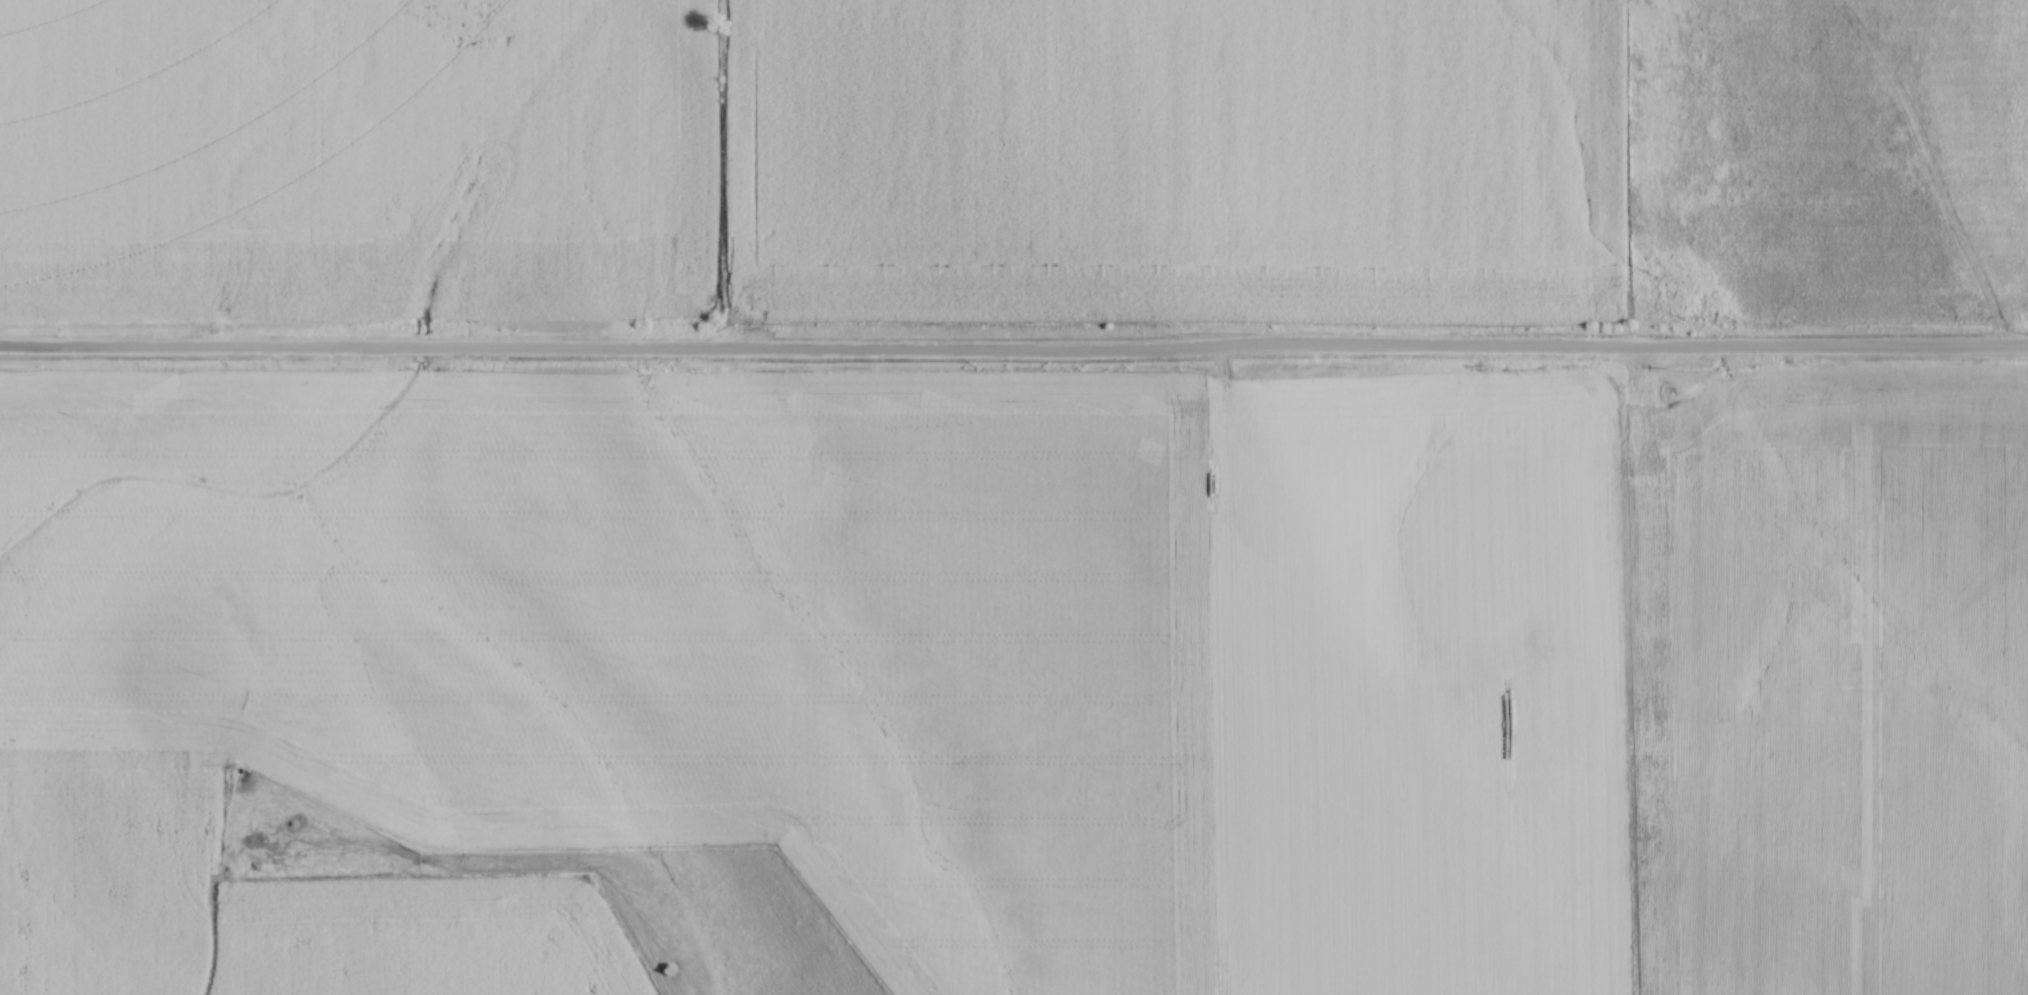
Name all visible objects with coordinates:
road: (1013, 354)

